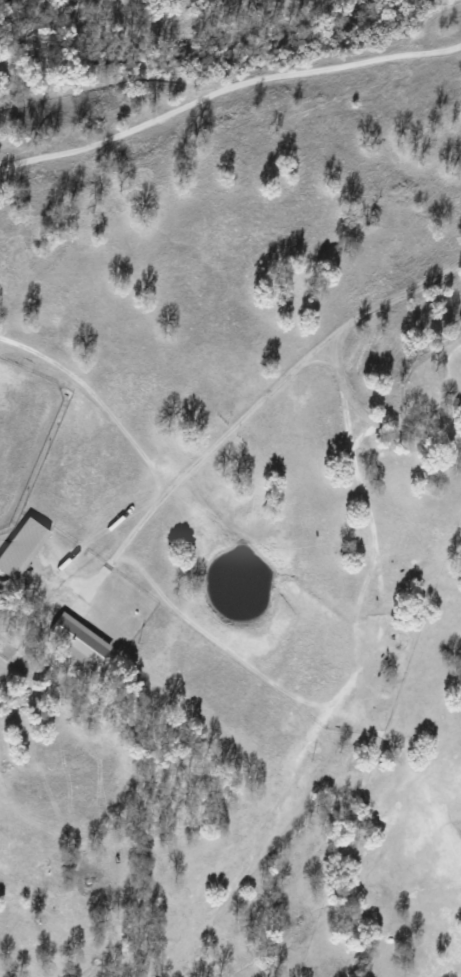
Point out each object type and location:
road: (362, 410)
building: (20, 547)
building: (78, 642)

